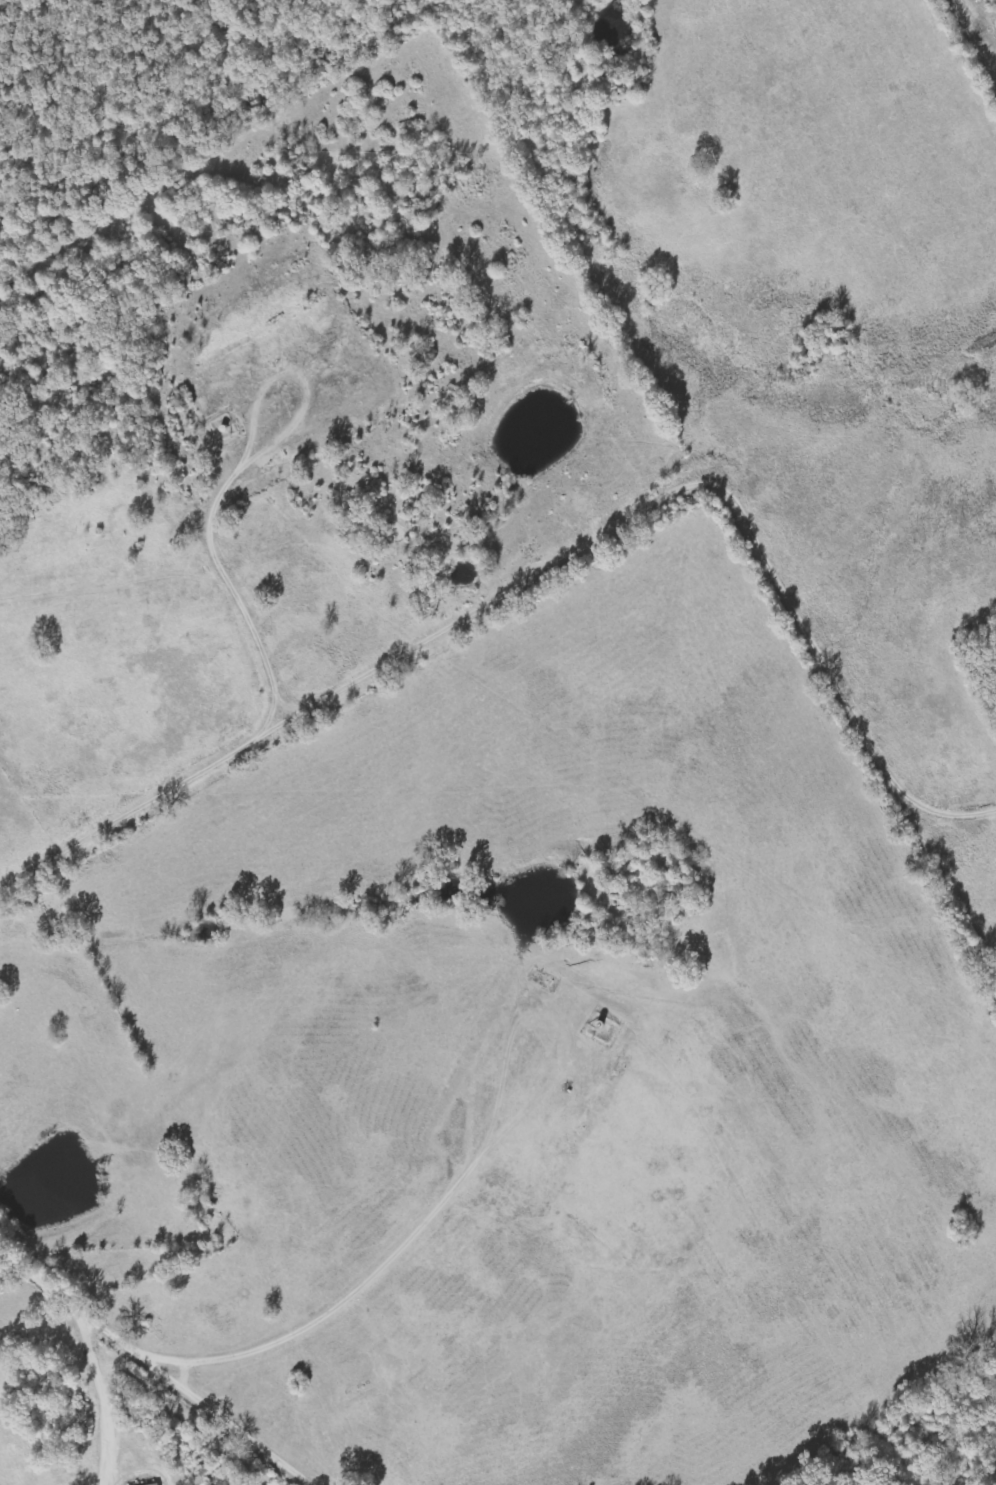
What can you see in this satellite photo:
road: (164, 587)
road: (145, 1374)
building: (158, 1484)

